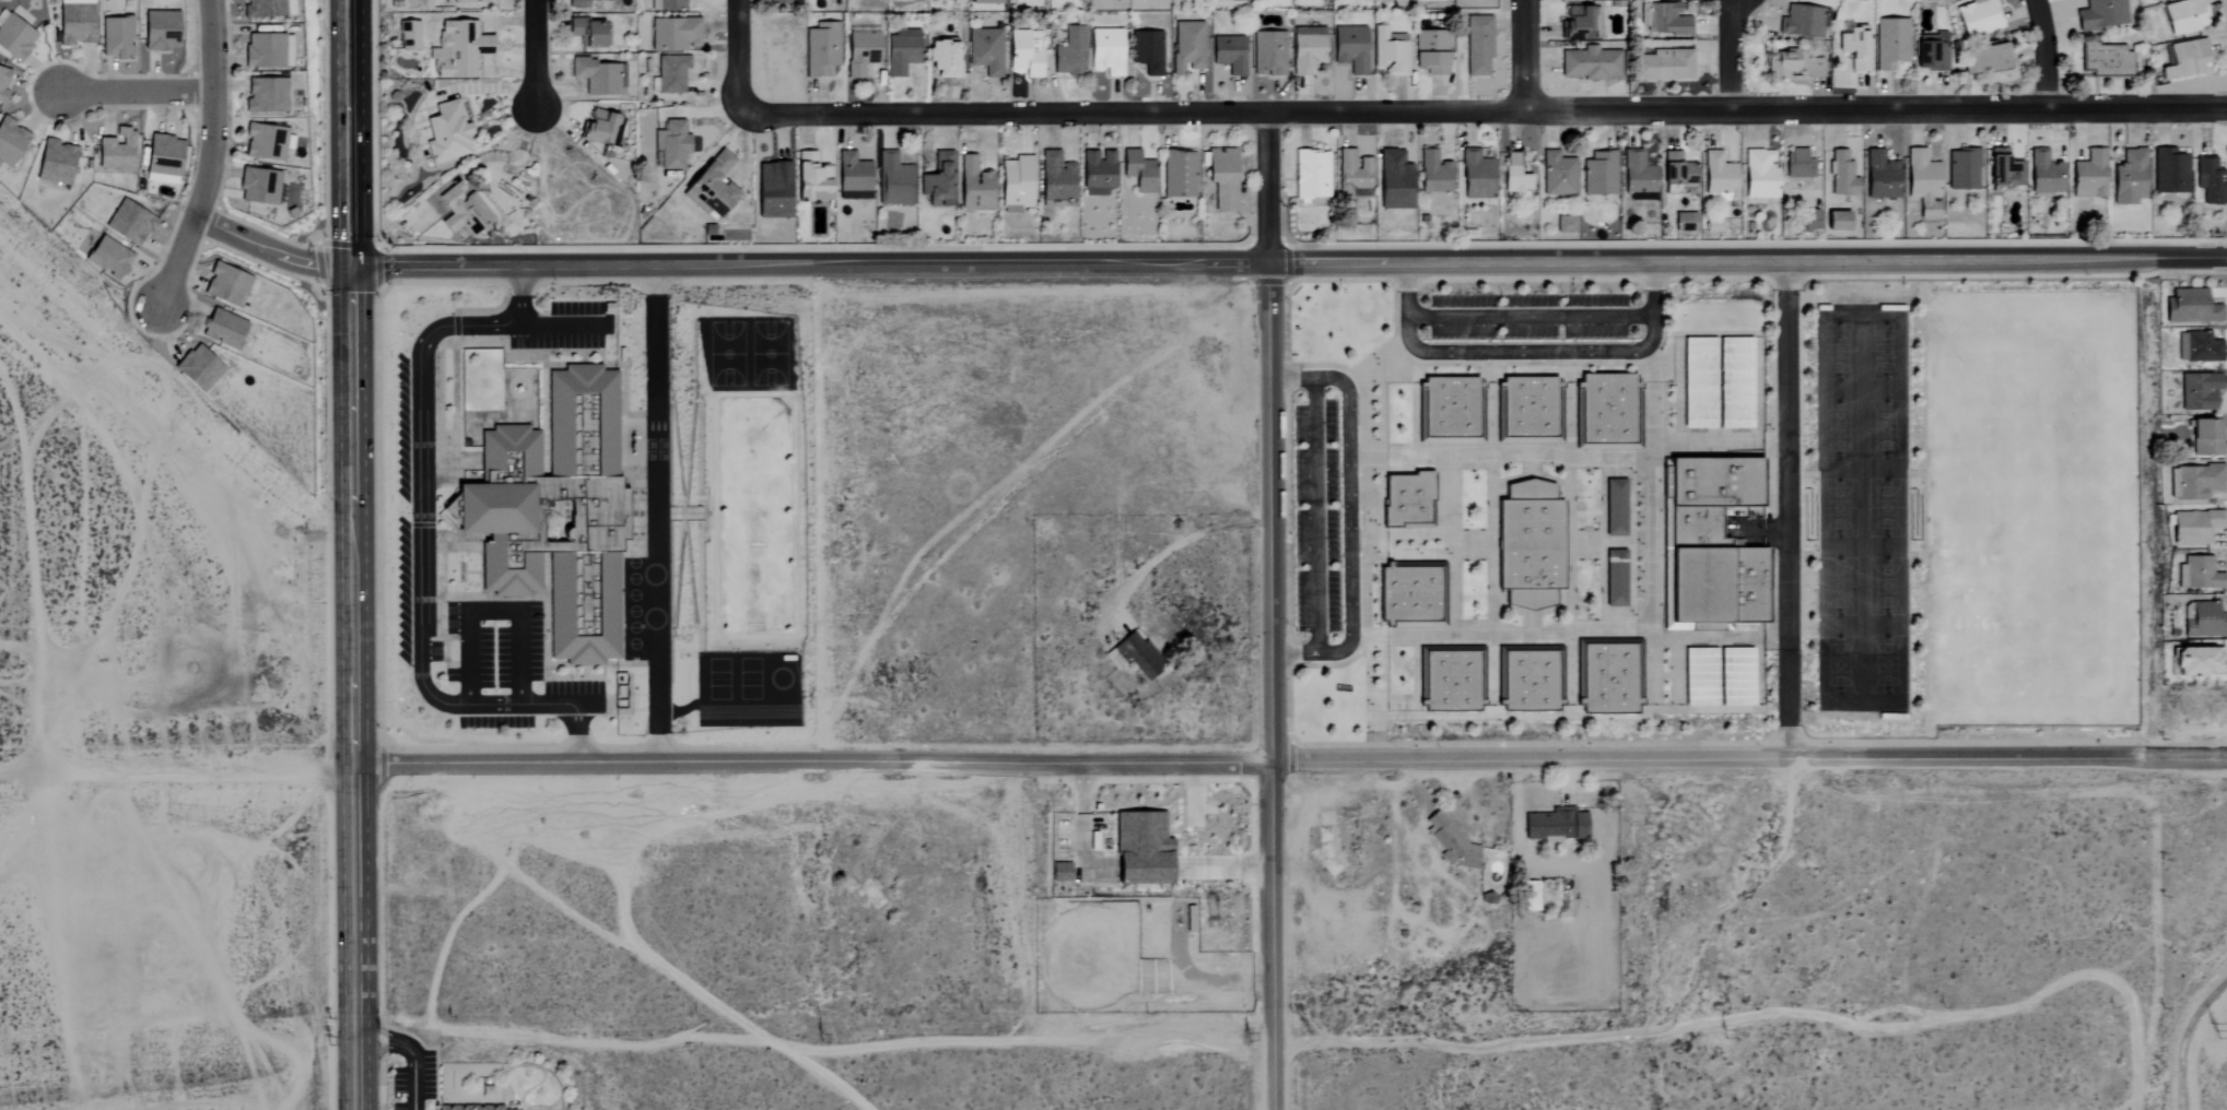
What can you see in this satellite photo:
park: (1917, 0)
building: (2154, 0)
building: (777, 2)
building: (986, 2)
building: (667, 4)
building: (262, 9)
building: (2101, 14)
building: (2183, 16)
building: (1661, 19)
building: (1977, 19)
building: (74, 22)
building: (1803, 22)
building: (1580, 24)
building: (159, 31)
building: (586, 33)
building: (673, 35)
building: (408, 36)
building: (115, 37)
building: (14, 39)
building: (1890, 44)
building: (1186, 47)
building: (1477, 47)
building: (1854, 48)
building: (459, 49)
building: (821, 49)
building: (1306, 49)
building: (1349, 49)
building: (266, 50)
building: (901, 51)
building: (985, 51)
building: (1105, 51)
building: (1146, 51)
building: (1388, 51)
building: (1931, 51)
building: (860, 52)
building: (1069, 52)
building: (1430, 52)
road: (2042, 52)
building: (1023, 54)
building: (1228, 54)
building: (1268, 54)
road: (1731, 54)
road: (541, 55)
road: (1523, 55)
road: (742, 57)
building: (941, 59)
building: (1982, 59)
building: (2184, 59)
building: (2107, 61)
building: (1589, 63)
building: (1663, 66)
building: (1794, 66)
building: (671, 73)
building: (598, 76)
building: (2, 82)
road: (136, 92)
building: (265, 95)
road: (1485, 110)
building: (596, 128)
road: (348, 133)
building: (446, 133)
building: (10, 142)
building: (263, 142)
building: (670, 144)
building: (116, 151)
road: (212, 157)
building: (162, 160)
building: (55, 163)
building: (1797, 165)
building: (1677, 169)
building: (1962, 170)
building: (2004, 170)
building: (1138, 172)
building: (1097, 173)
building: (2044, 173)
building: (2169, 173)
building: (1598, 174)
building: (1637, 174)
building: (1179, 175)
building: (1310, 175)
building: (1352, 175)
building: (1476, 175)
building: (1513, 175)
building: (1557, 175)
building: (1719, 175)
building: (1759, 175)
building: (1840, 175)
building: (2088, 175)
building: (1433, 176)
building: (852, 177)
building: (1055, 177)
building: (1880, 177)
building: (1222, 178)
building: (2129, 178)
building: (810, 179)
building: (892, 180)
building: (937, 181)
building: (1394, 181)
building: (2210, 181)
building: (1923, 182)
building: (1015, 185)
building: (711, 186)
building: (973, 186)
building: (257, 187)
building: (772, 190)
building: (460, 211)
building: (1837, 222)
building: (128, 223)
building: (1684, 223)
building: (1564, 224)
building: (1712, 226)
road: (270, 252)
building: (107, 258)
road: (1288, 263)
traffic signals: (350, 267)
building: (225, 286)
road: (521, 295)
building: (2191, 308)
road: (1529, 317)
road: (563, 324)
parking lot: (564, 328)
building: (222, 329)
building: (2199, 349)
road: (1528, 351)
building: (196, 369)
building: (1698, 383)
building: (1734, 383)
building: (2199, 392)
building: (1449, 412)
building: (1527, 412)
building: (1606, 414)
building: (2204, 438)
building: (542, 461)
building: (2196, 482)
road: (1347, 496)
building: (1407, 501)
park: (1860, 508)
road: (1788, 509)
park: (2029, 509)
road: (659, 511)
building: (555, 513)
road: (1314, 516)
building: (2195, 527)
road: (1177, 545)
building: (1528, 545)
building: (1708, 546)
road: (424, 568)
building: (2201, 575)
building: (1615, 578)
building: (1411, 594)
road: (492, 611)
road: (1270, 611)
building: (2203, 621)
road: (354, 651)
road: (1293, 653)
building: (1138, 656)
building: (2196, 661)
parking lot: (503, 668)
building: (1607, 676)
building: (1735, 676)
building: (1699, 677)
building: (1451, 678)
building: (1528, 680)
road: (1291, 757)
road: (201, 766)
building: (1554, 826)
building: (1449, 839)
building: (1140, 849)
building: (1059, 872)
power tower: (2214, 1034)
power tower: (1727, 1035)
power tower: (820, 1038)
power tower: (1249, 1039)
power tower: (323, 1040)
road: (410, 1053)
road: (359, 1073)
building: (474, 1108)

